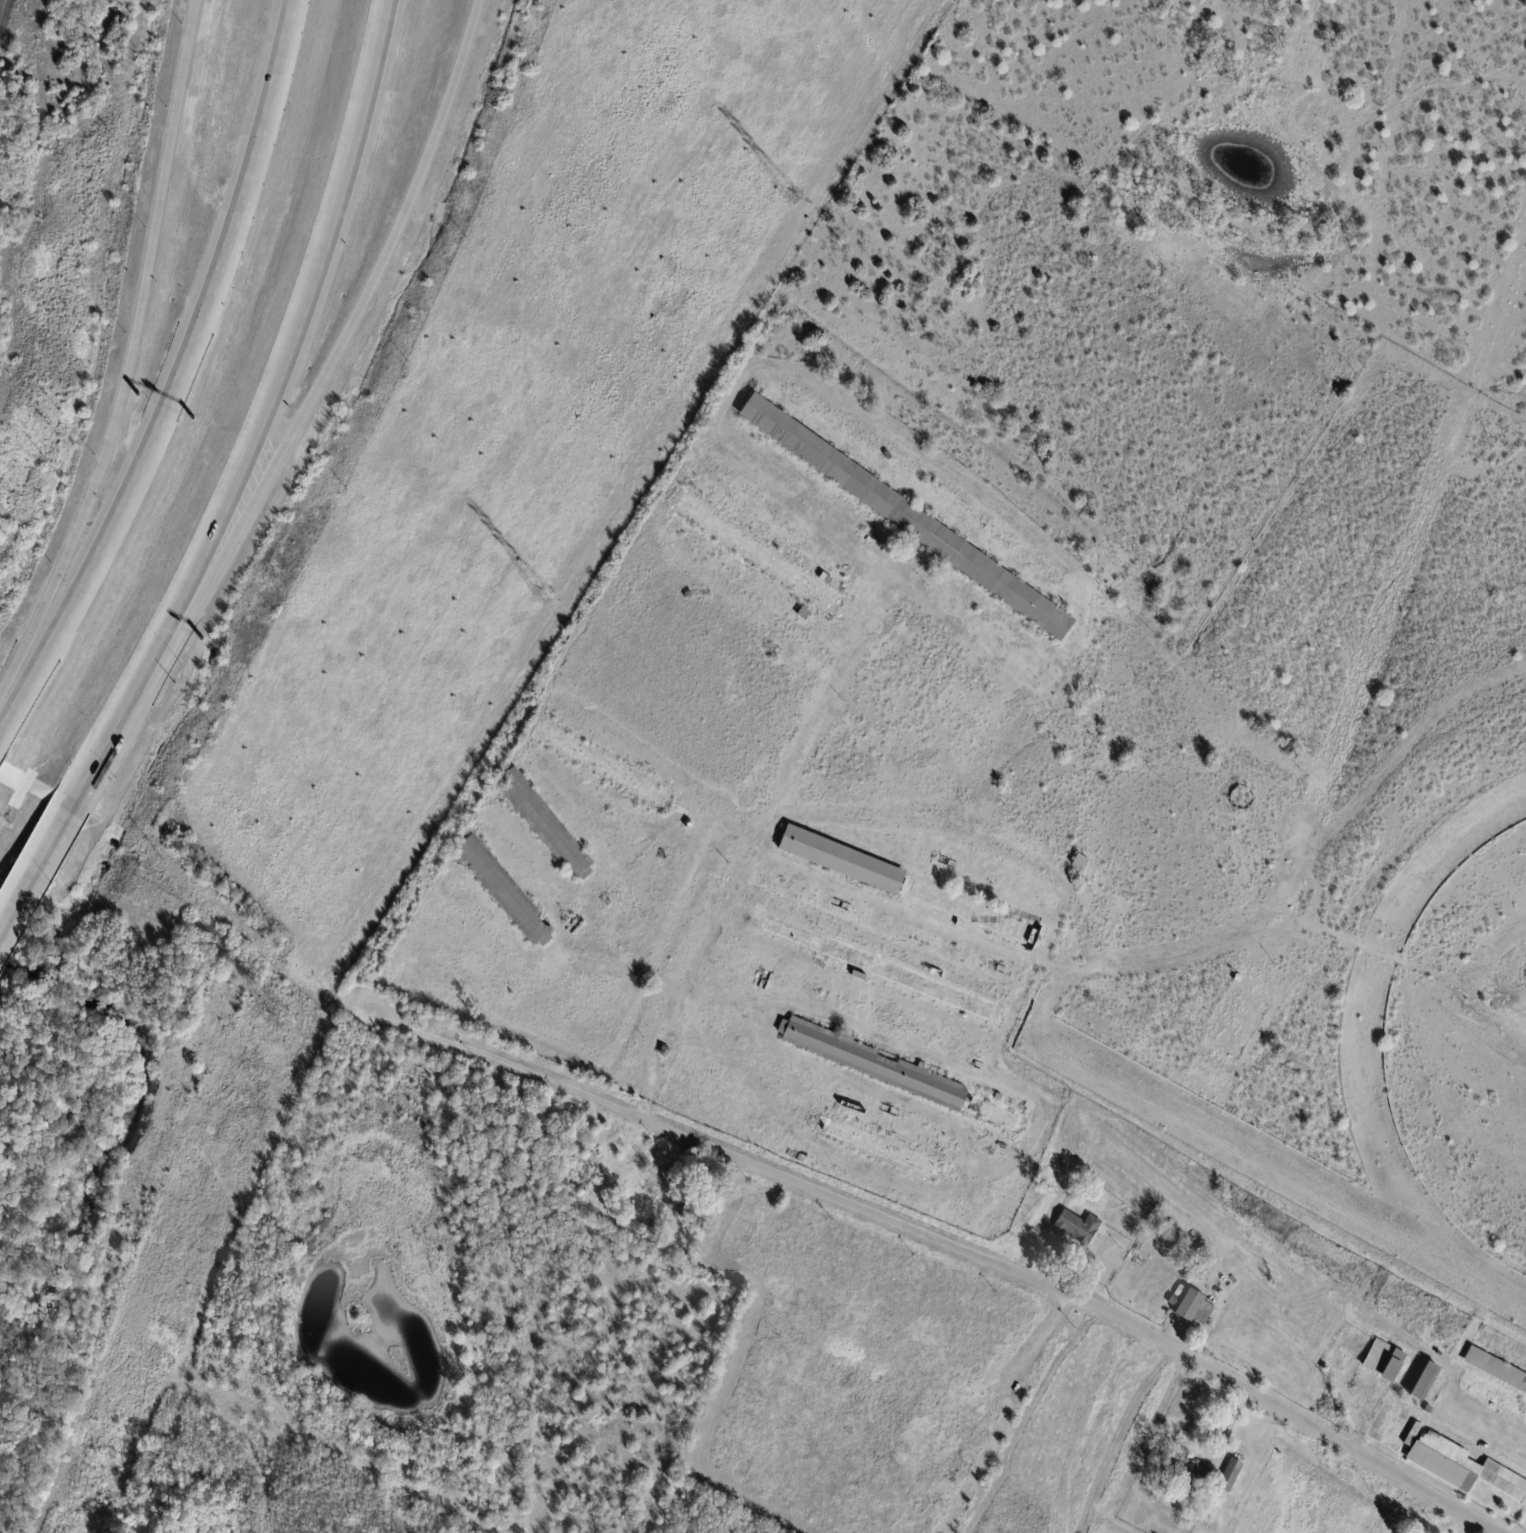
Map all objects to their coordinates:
power tower: (789, 196)
road: (299, 326)
road: (347, 331)
road: (125, 368)
road: (177, 377)
building: (892, 458)
building: (908, 518)
building: (759, 554)
building: (917, 583)
power tower: (542, 593)
building: (711, 598)
building: (803, 614)
road: (121, 717)
building: (603, 765)
building: (545, 824)
building: (688, 824)
building: (1081, 862)
road: (39, 868)
building: (911, 887)
building: (505, 891)
building: (879, 967)
building: (1237, 978)
track: (1372, 994)
building: (1087, 1011)
power tower: (277, 1016)
building: (665, 1052)
building: (1286, 1055)
road: (500, 1065)
building: (1291, 1070)
building: (904, 1076)
road: (1072, 1106)
building: (473, 1107)
building: (489, 1120)
building: (516, 1134)
building: (535, 1135)
building: (881, 1147)
track: (1284, 1169)
road: (830, 1198)
building: (685, 1200)
building: (1079, 1226)
building: (651, 1234)
building: (1207, 1264)
building: (1179, 1291)
building: (1173, 1301)
building: (1195, 1308)
building: (1386, 1362)
building: (1327, 1369)
building: (1497, 1369)
building: (1425, 1382)
road: (1264, 1400)
building: (1430, 1410)
building: (1438, 1451)
building: (1184, 1470)
building: (1231, 1476)
building: (118, 1529)

